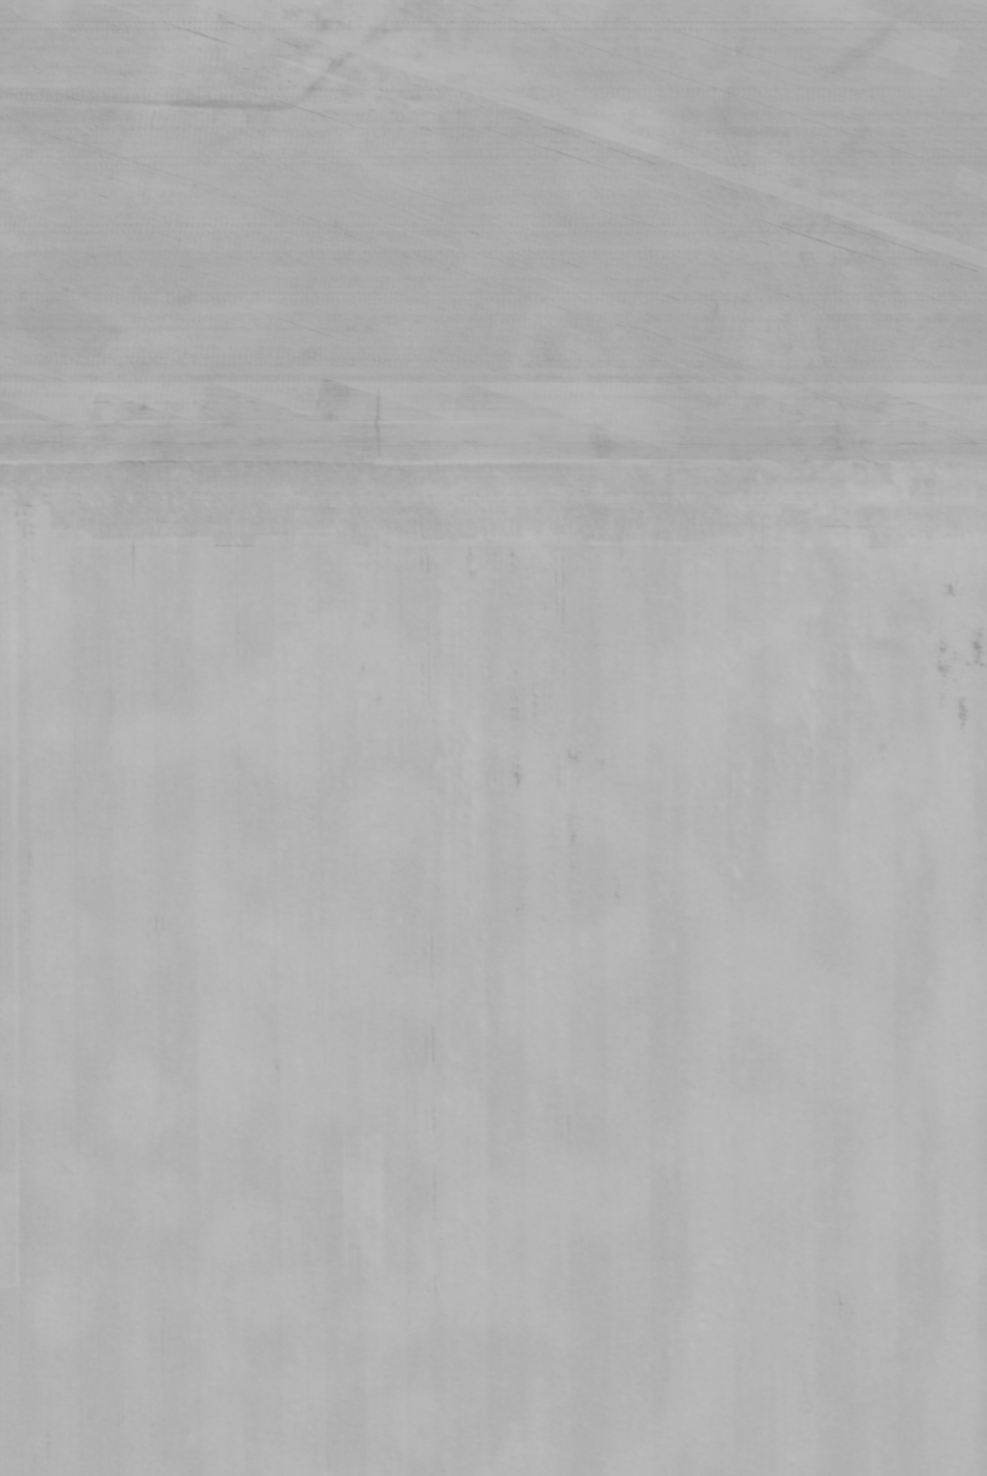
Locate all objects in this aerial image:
building: (423, 11)
building: (351, 75)
building: (454, 80)
road: (212, 107)

